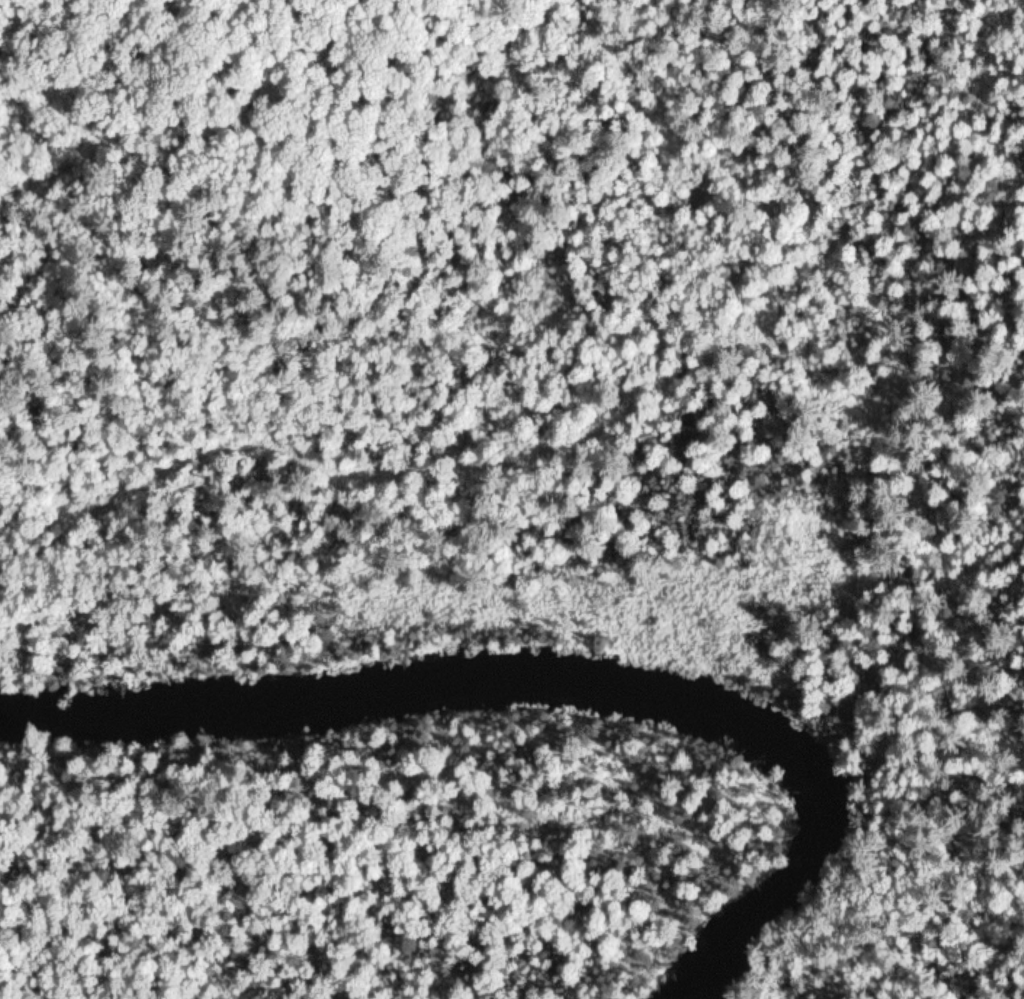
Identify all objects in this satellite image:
river: (558, 684)

